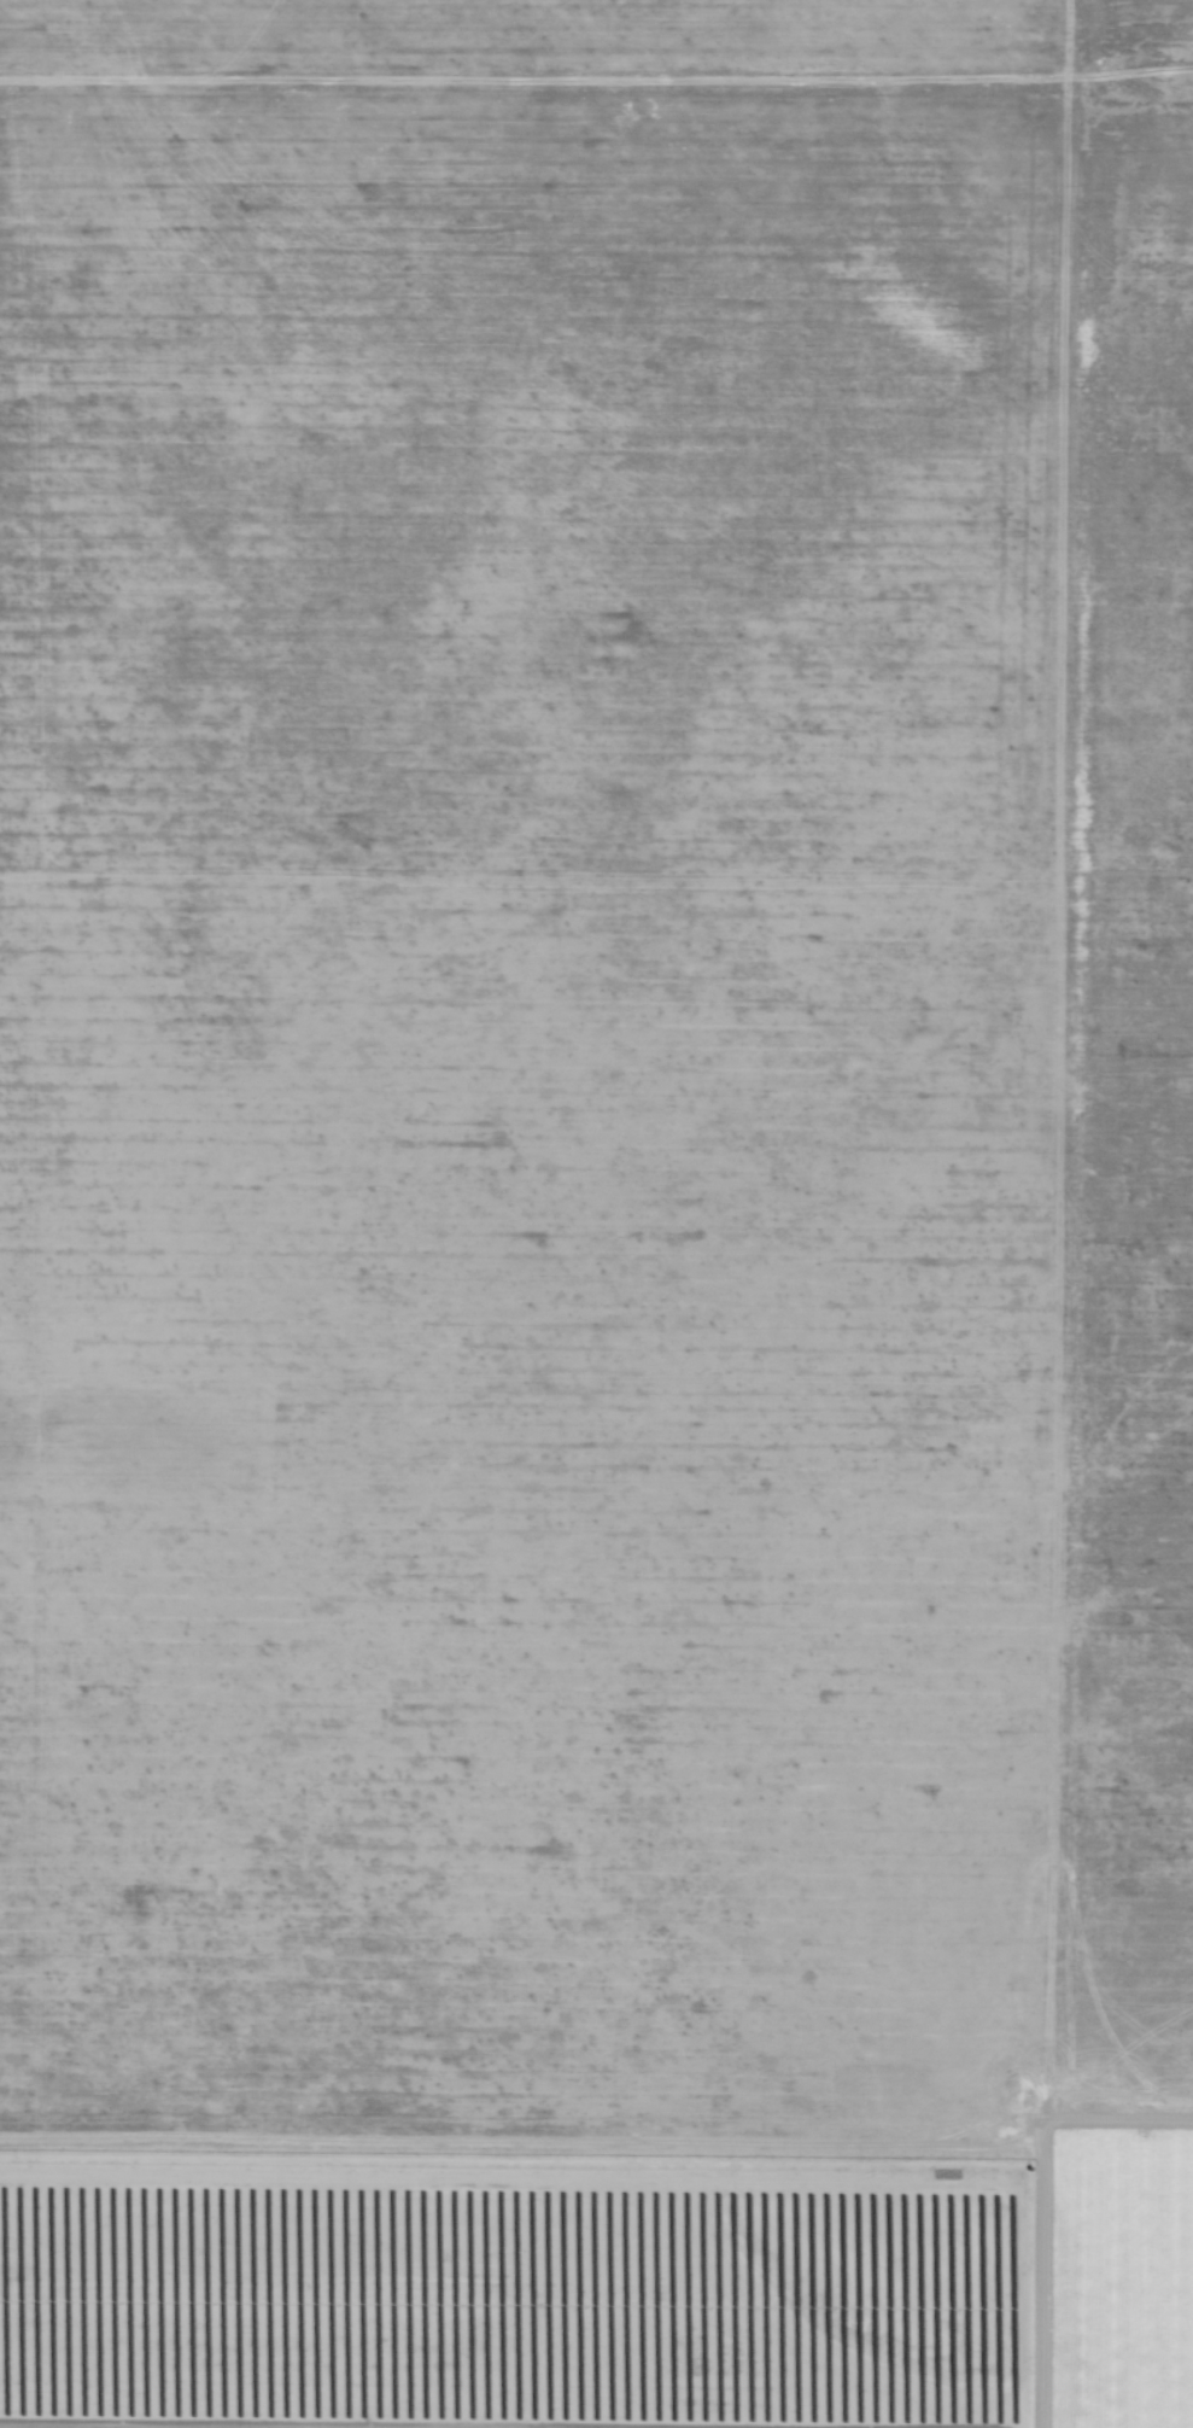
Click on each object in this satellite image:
road: (560, 71)
road: (1112, 1214)
solar farm: (509, 2292)

